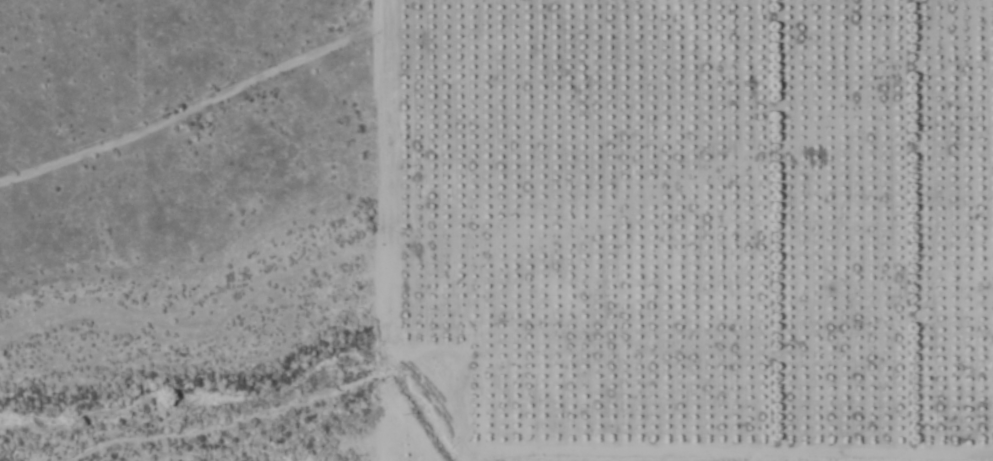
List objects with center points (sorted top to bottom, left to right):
road: (200, 100)

